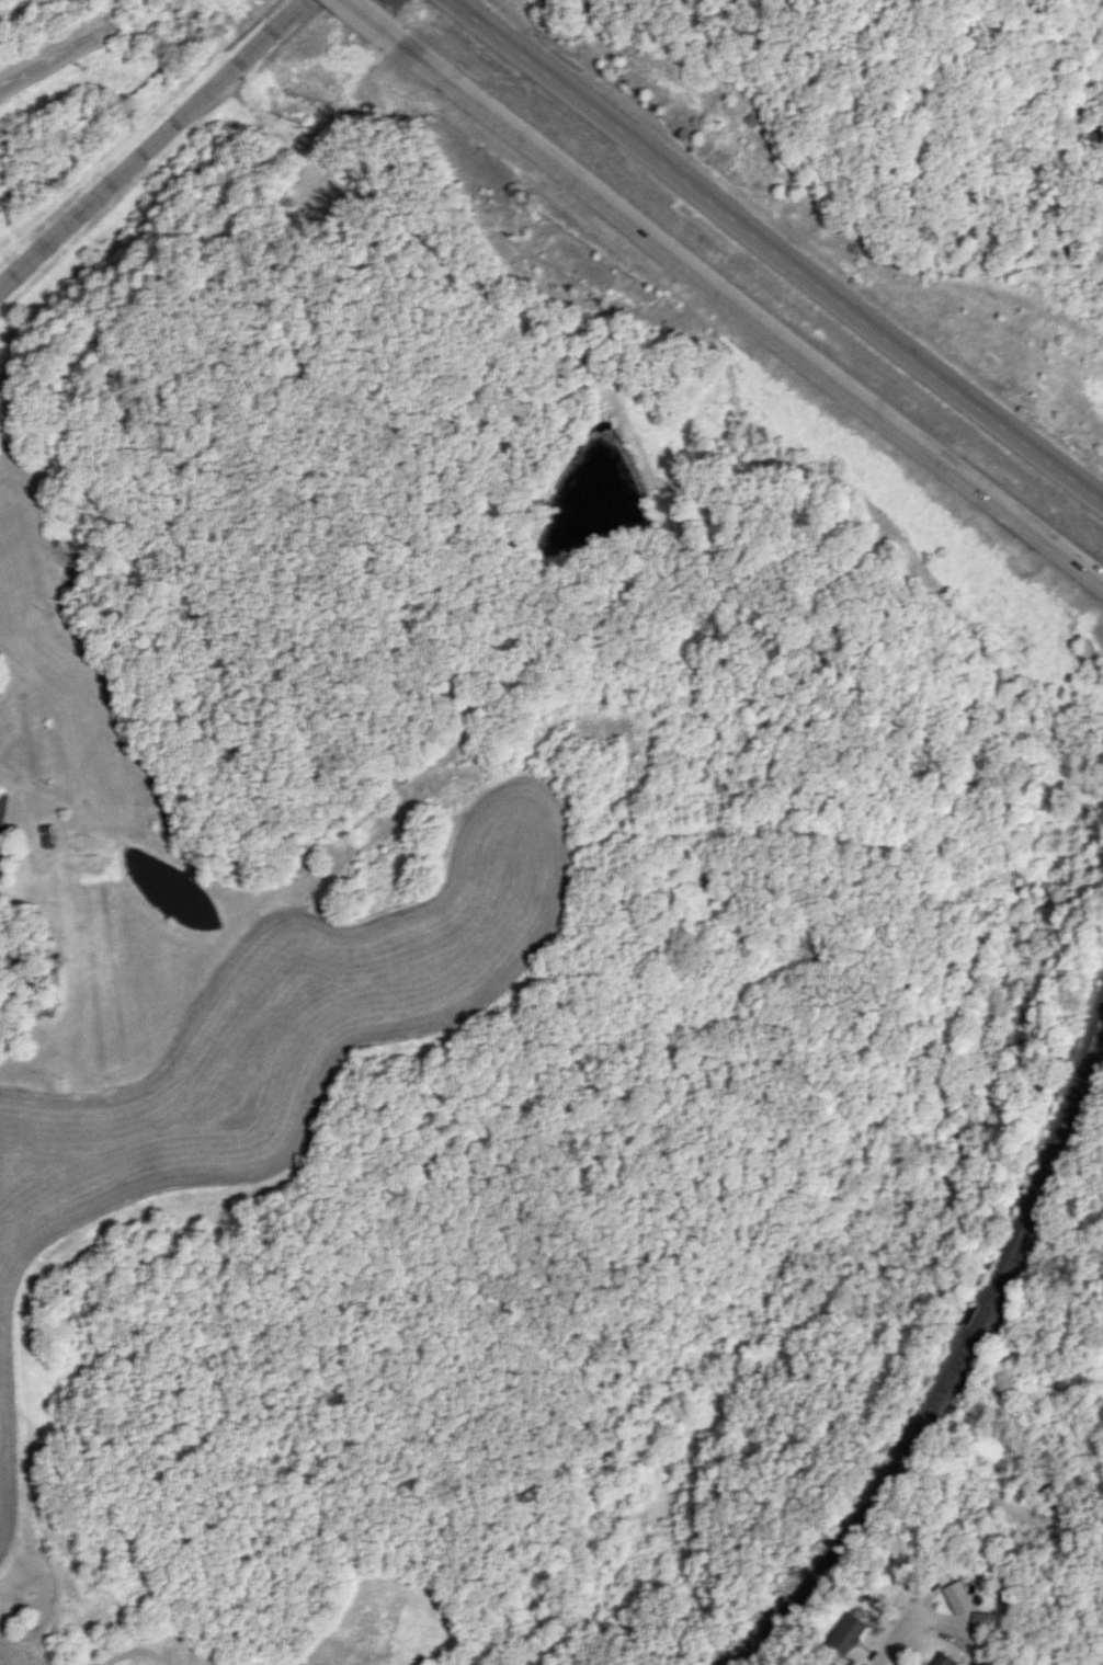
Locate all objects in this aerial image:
road: (361, 20)
road: (67, 53)
road: (152, 146)
road: (770, 258)
road: (741, 320)
building: (2, 808)
building: (53, 984)
railway: (960, 1354)
road: (1051, 1400)
building: (957, 1597)
building: (982, 1619)
building: (846, 1634)
road: (901, 1634)
building: (942, 1660)

